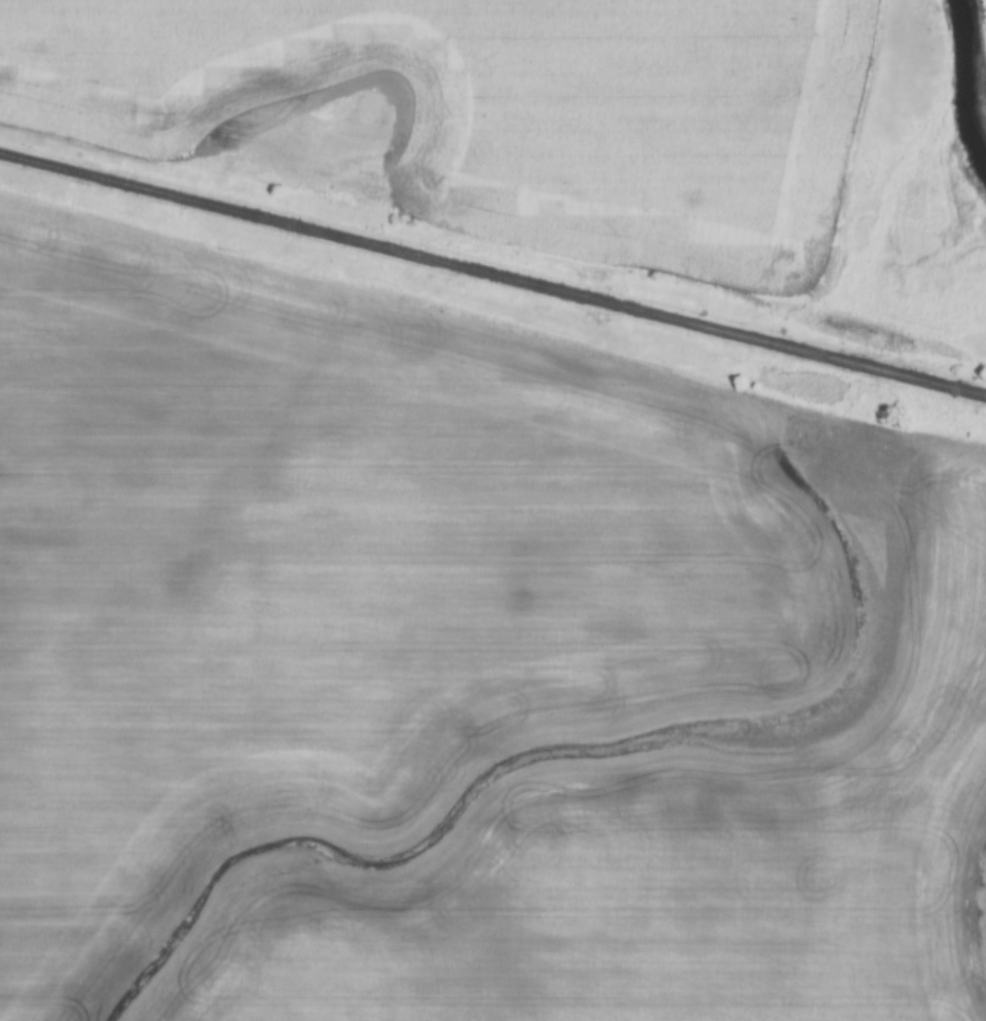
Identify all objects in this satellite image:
railway: (493, 275)

